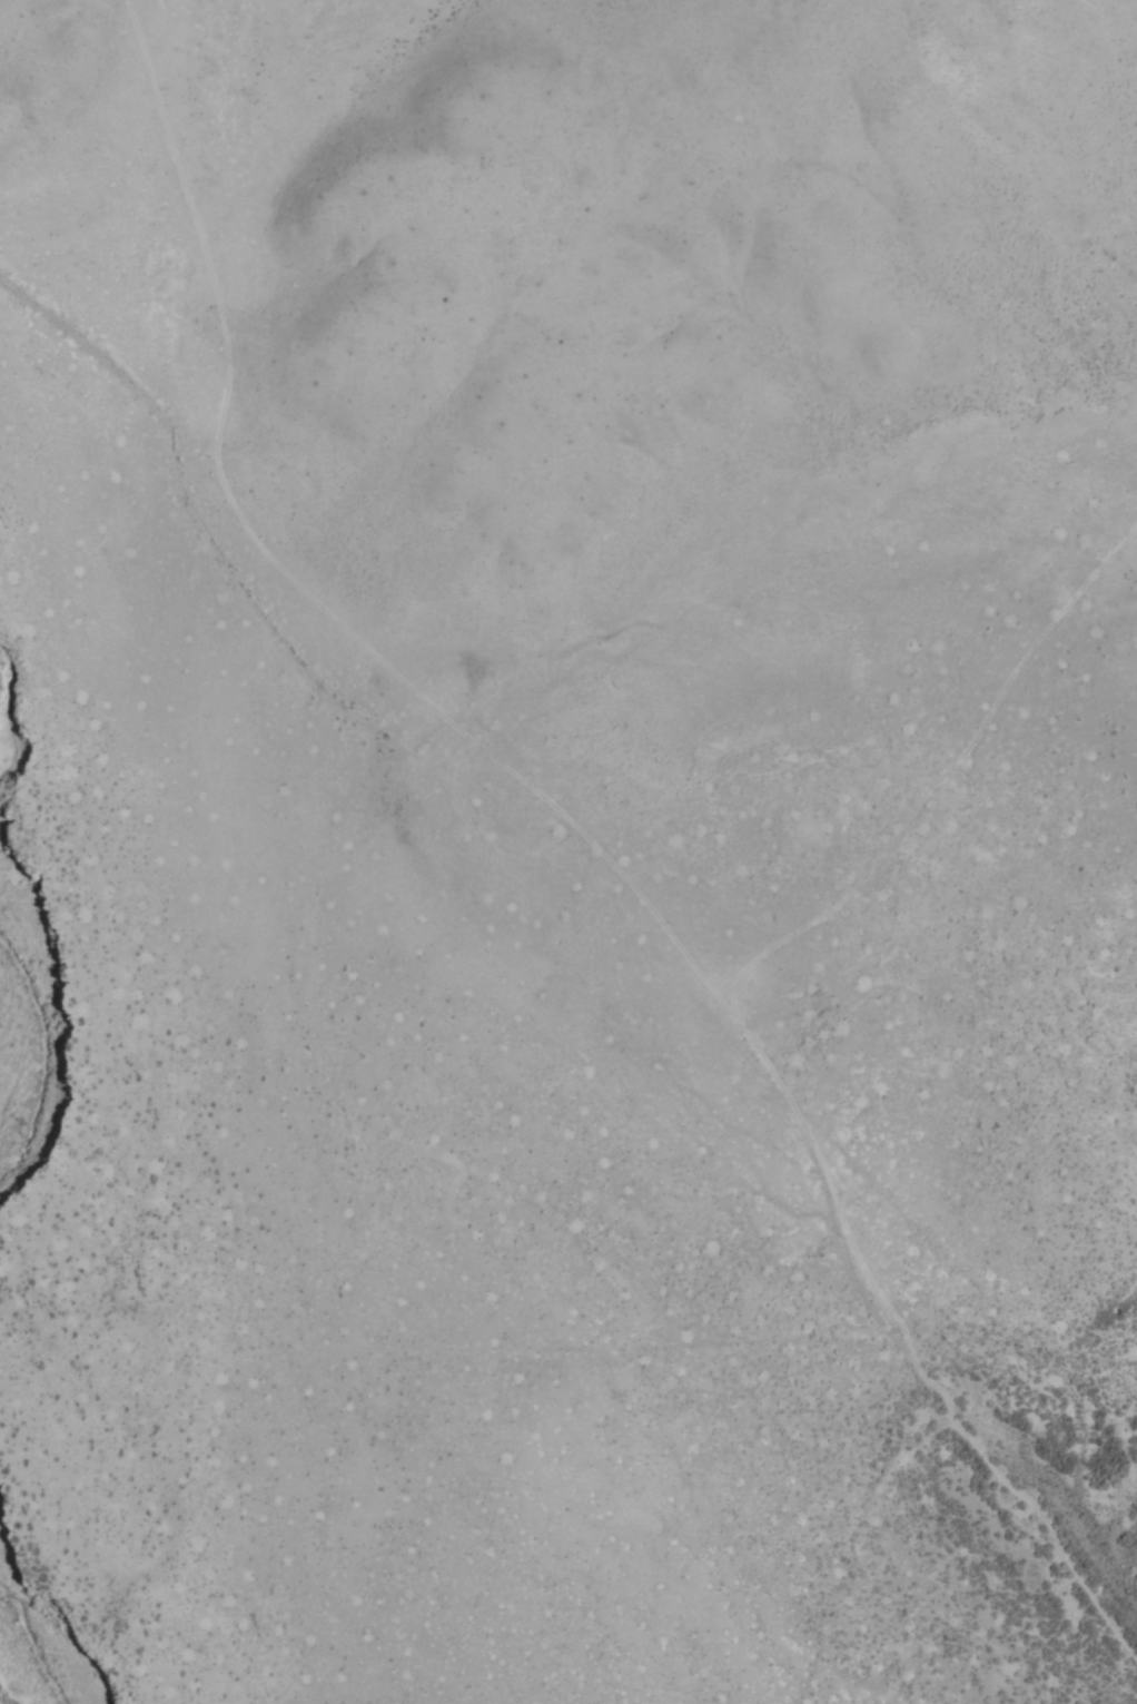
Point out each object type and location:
road: (585, 829)
river: (19, 1673)

